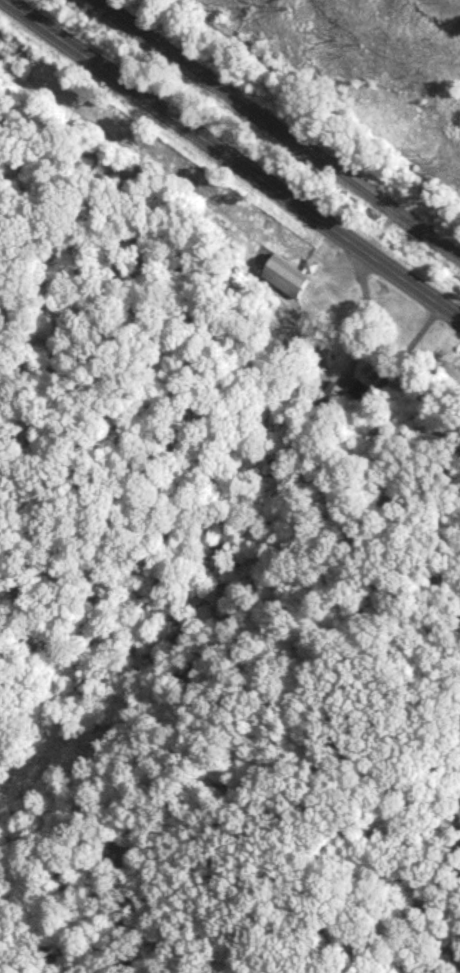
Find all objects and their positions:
railway: (275, 130)
road: (233, 158)
building: (289, 276)
building: (375, 373)
building: (333, 393)
building: (104, 489)

